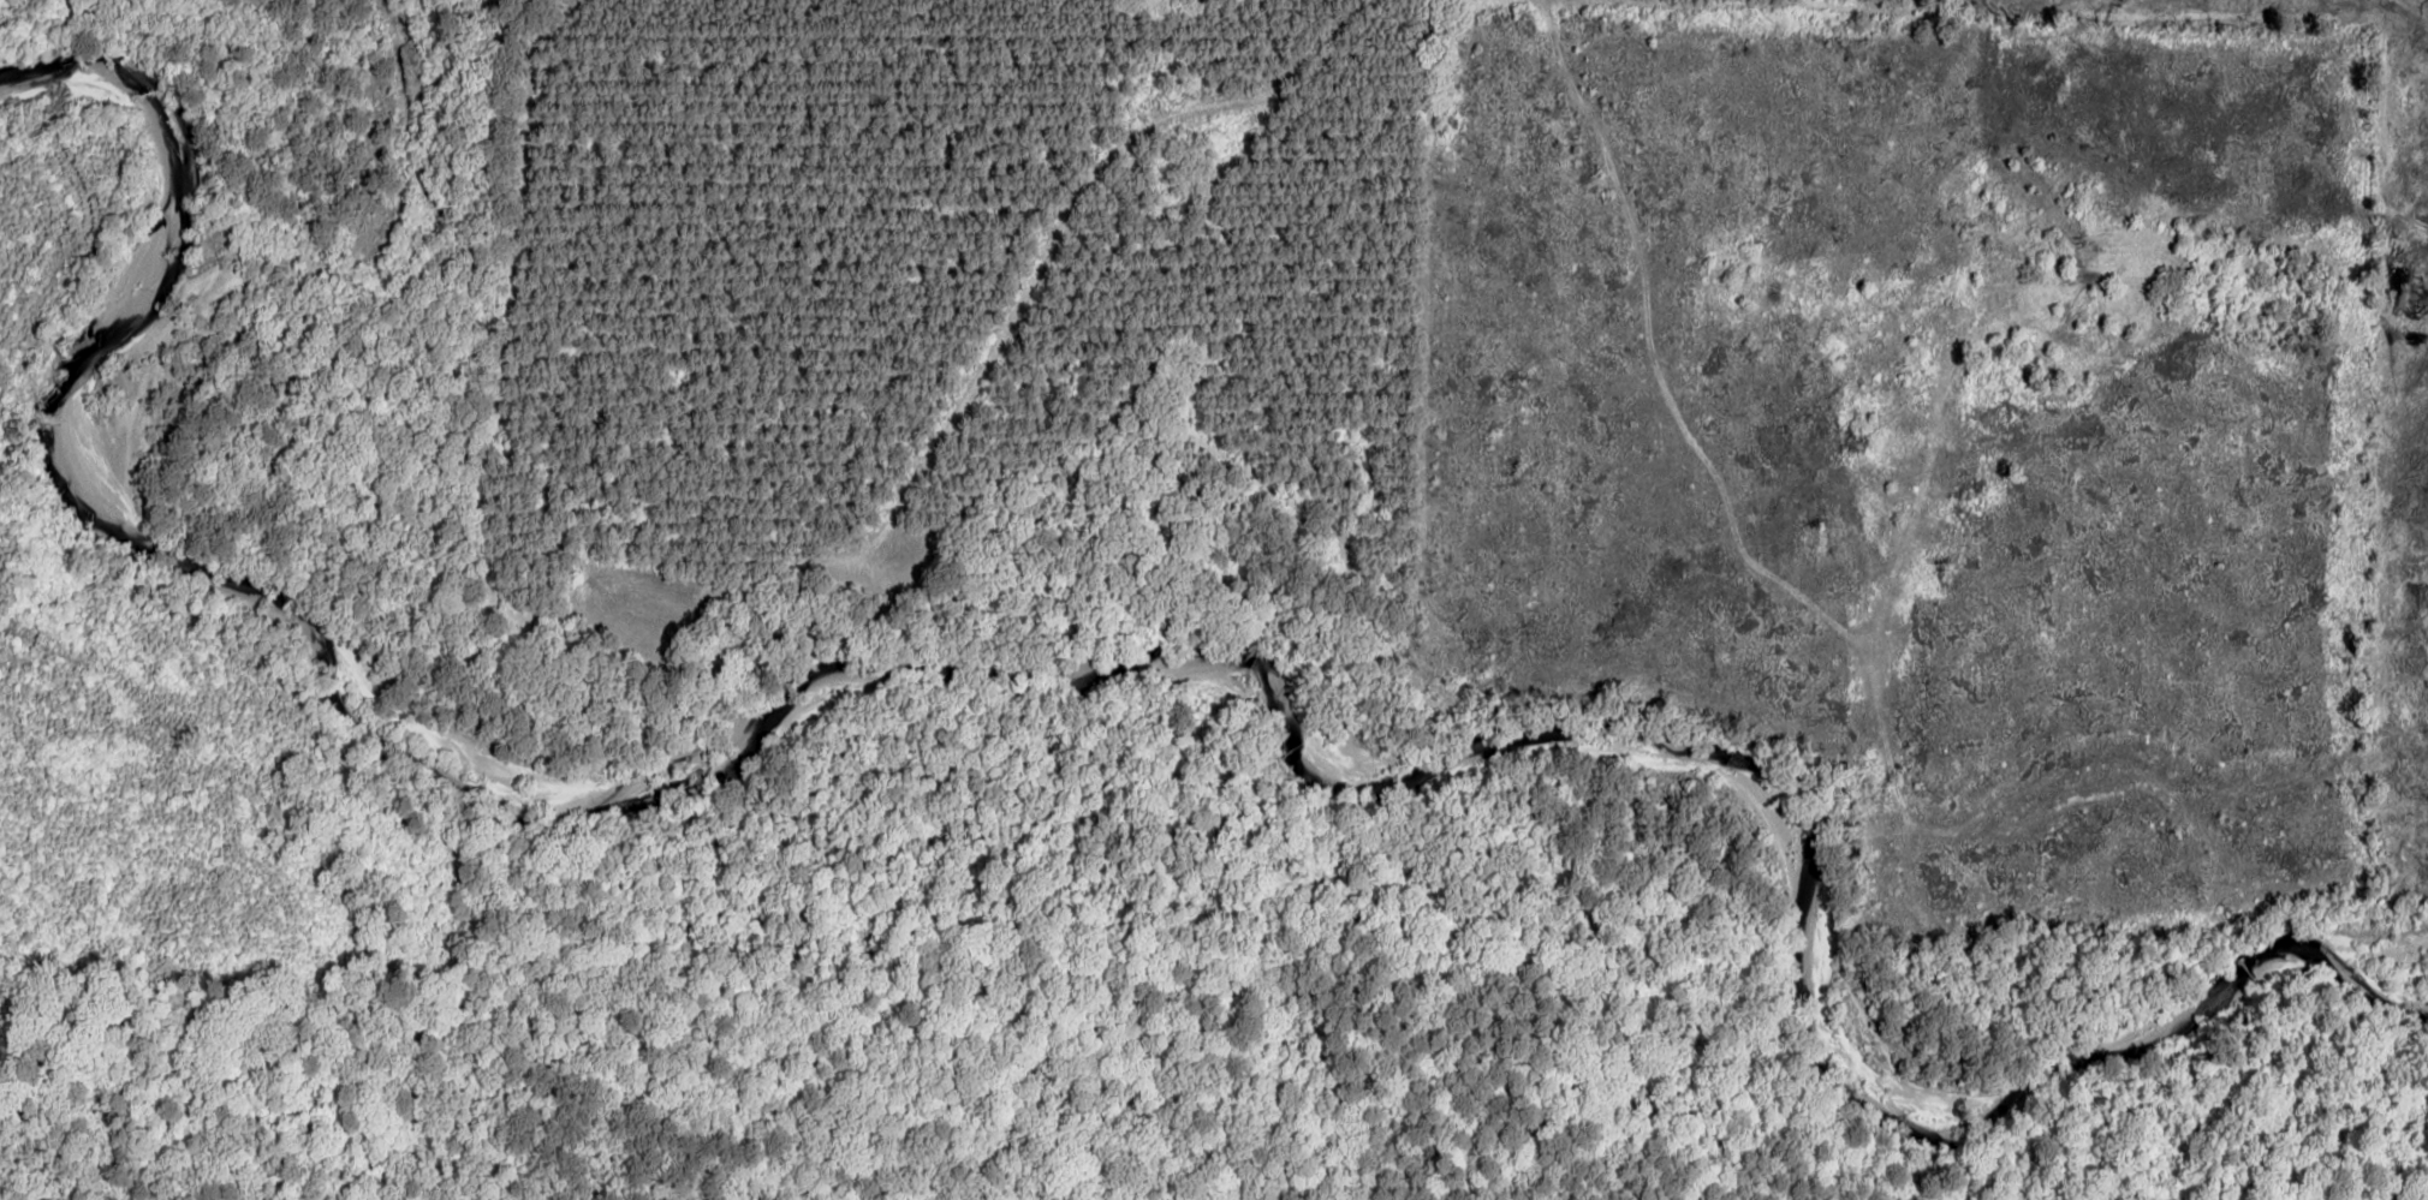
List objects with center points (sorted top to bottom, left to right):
road: (1311, 2)

